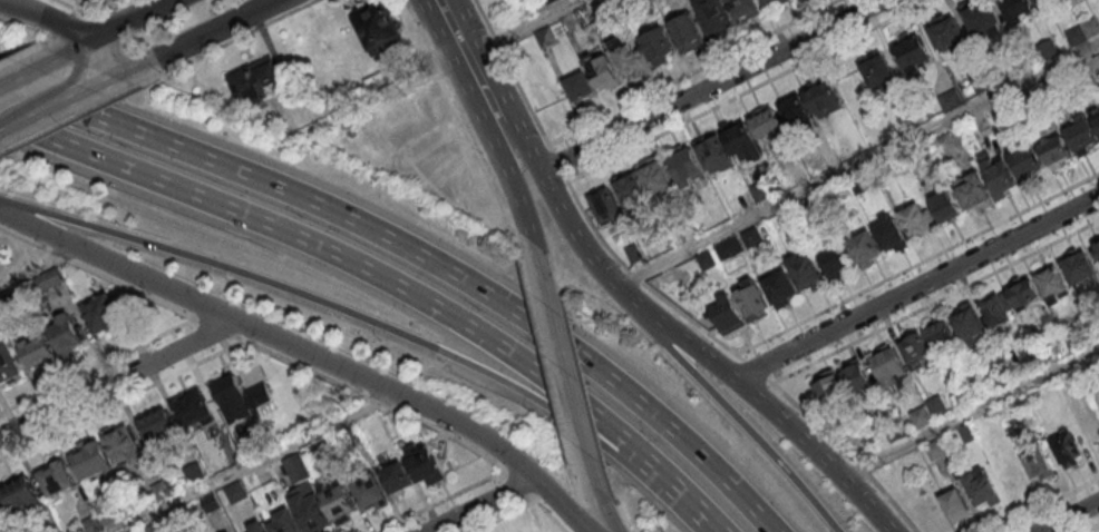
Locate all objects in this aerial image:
road: (8, 0)
road: (8, 0)
building: (549, 1)
building: (639, 1)
building: (774, 2)
building: (1041, 2)
road: (66, 4)
road: (149, 4)
building: (745, 9)
building: (1017, 11)
road: (106, 14)
road: (49, 17)
building: (714, 18)
building: (982, 19)
road: (62, 23)
building: (1091, 28)
road: (96, 29)
road: (217, 30)
building: (379, 30)
building: (689, 35)
building: (949, 35)
road: (424, 36)
building: (1077, 37)
road: (239, 38)
building: (546, 39)
road: (457, 43)
building: (659, 47)
road: (114, 48)
road: (25, 49)
building: (1049, 50)
road: (84, 53)
building: (914, 57)
building: (632, 58)
road: (27, 66)
road: (447, 68)
building: (878, 71)
road: (512, 72)
road: (694, 73)
road: (127, 75)
building: (603, 75)
building: (982, 82)
building: (257, 85)
road: (711, 85)
building: (580, 89)
building: (1048, 90)
road: (749, 91)
road: (64, 95)
building: (824, 99)
building: (952, 102)
road: (488, 106)
road: (80, 114)
road: (48, 116)
building: (797, 117)
building: (1096, 119)
building: (768, 125)
building: (1083, 138)
building: (742, 142)
building: (945, 144)
road: (521, 145)
building: (928, 151)
road: (478, 155)
building: (1057, 155)
building: (716, 156)
road: (556, 161)
road: (857, 166)
building: (898, 166)
building: (1027, 166)
building: (687, 168)
building: (998, 176)
building: (655, 177)
road: (545, 181)
building: (859, 185)
road: (514, 187)
building: (631, 189)
building: (764, 191)
building: (976, 195)
building: (945, 206)
building: (606, 207)
building: (816, 207)
road: (33, 213)
building: (917, 221)
building: (892, 236)
building: (752, 239)
road: (30, 243)
building: (1097, 249)
building: (730, 250)
building: (865, 250)
road: (418, 254)
building: (635, 255)
road: (594, 260)
building: (707, 262)
building: (837, 264)
road: (917, 265)
road: (39, 267)
building: (1080, 268)
building: (806, 276)
road: (386, 279)
road: (640, 280)
building: (1052, 283)
road: (916, 288)
building: (780, 292)
building: (1024, 294)
road: (935, 302)
building: (751, 303)
building: (101, 313)
building: (996, 314)
building: (728, 318)
building: (970, 327)
road: (217, 328)
road: (161, 333)
building: (66, 334)
building: (941, 335)
road: (408, 337)
building: (1080, 338)
road: (252, 342)
building: (37, 348)
road: (544, 352)
road: (309, 354)
building: (917, 354)
building: (8, 361)
building: (888, 366)
road: (755, 370)
road: (564, 374)
road: (117, 377)
building: (1006, 377)
building: (856, 378)
building: (830, 391)
building: (967, 396)
building: (242, 402)
building: (937, 407)
road: (970, 413)
building: (195, 414)
road: (777, 417)
building: (923, 418)
road: (745, 424)
building: (158, 430)
building: (896, 433)
building: (967, 434)
building: (121, 443)
building: (936, 451)
road: (844, 452)
building: (1068, 452)
building: (93, 460)
building: (424, 462)
road: (254, 464)
building: (1039, 466)
building: (397, 476)
building: (56, 477)
road: (518, 486)
building: (369, 491)
building: (21, 493)
building: (236, 493)
building: (983, 493)
road: (439, 501)
building: (211, 504)
road: (1044, 504)
road: (478, 505)
road: (524, 508)
building: (955, 509)
building: (106, 515)
road: (599, 515)
road: (1066, 515)
road: (551, 516)
building: (3, 518)
building: (284, 521)
building: (91, 523)
building: (256, 526)
building: (155, 528)
road: (1091, 528)
building: (230, 531)

